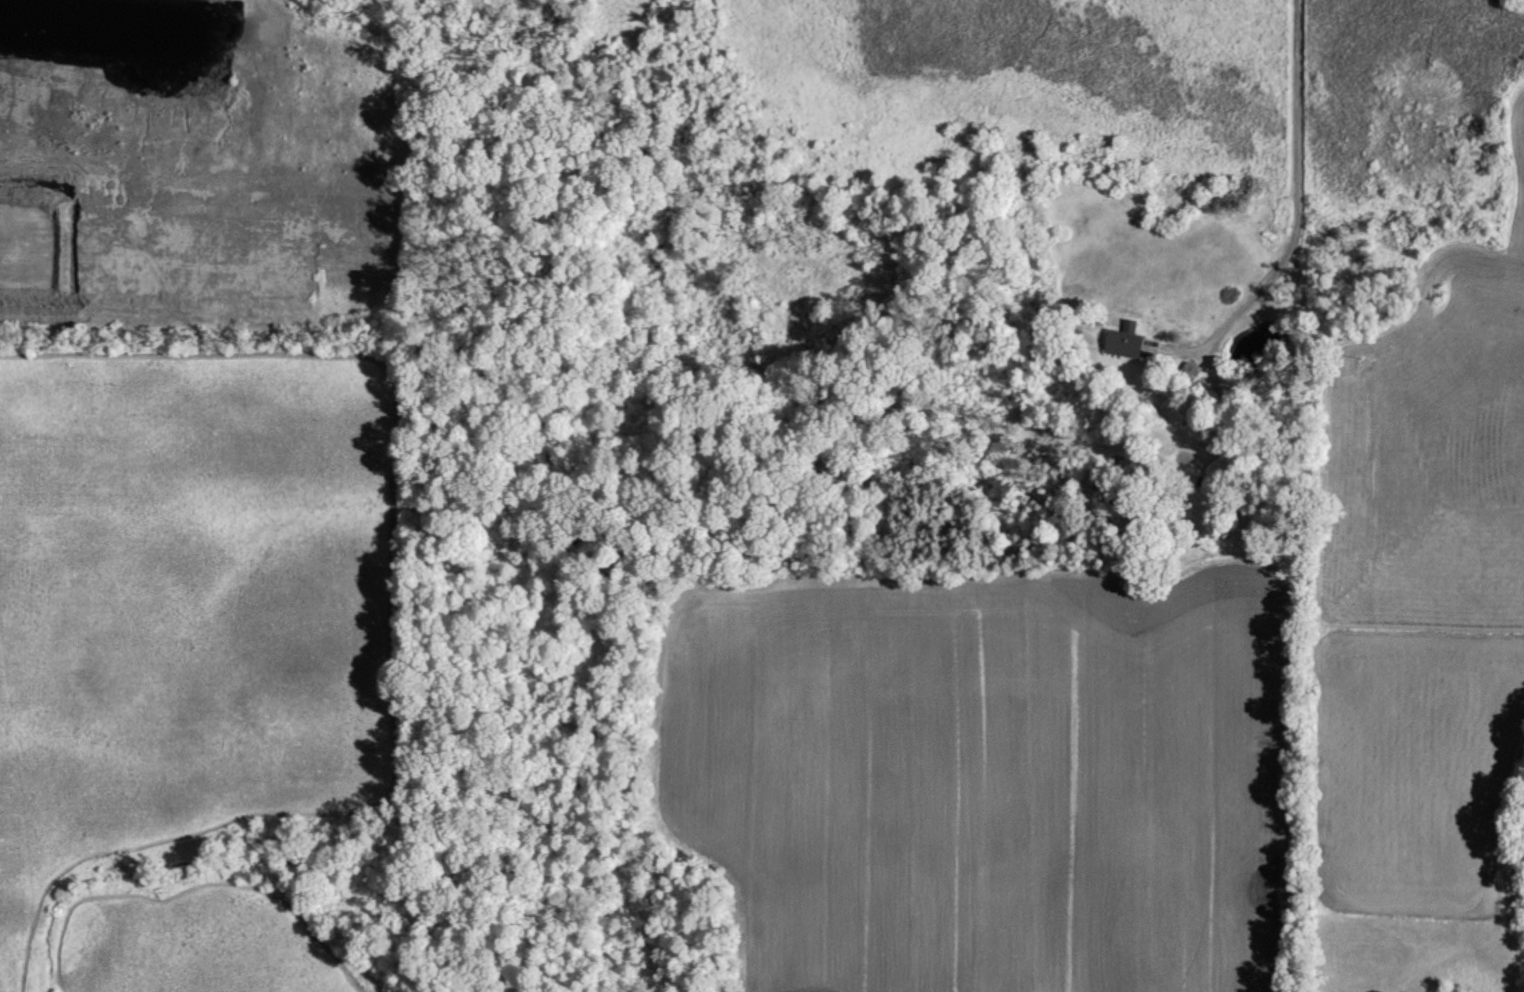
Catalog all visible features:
road: (1300, 219)
building: (1122, 341)
building: (1188, 372)
road: (393, 612)
road: (204, 883)

